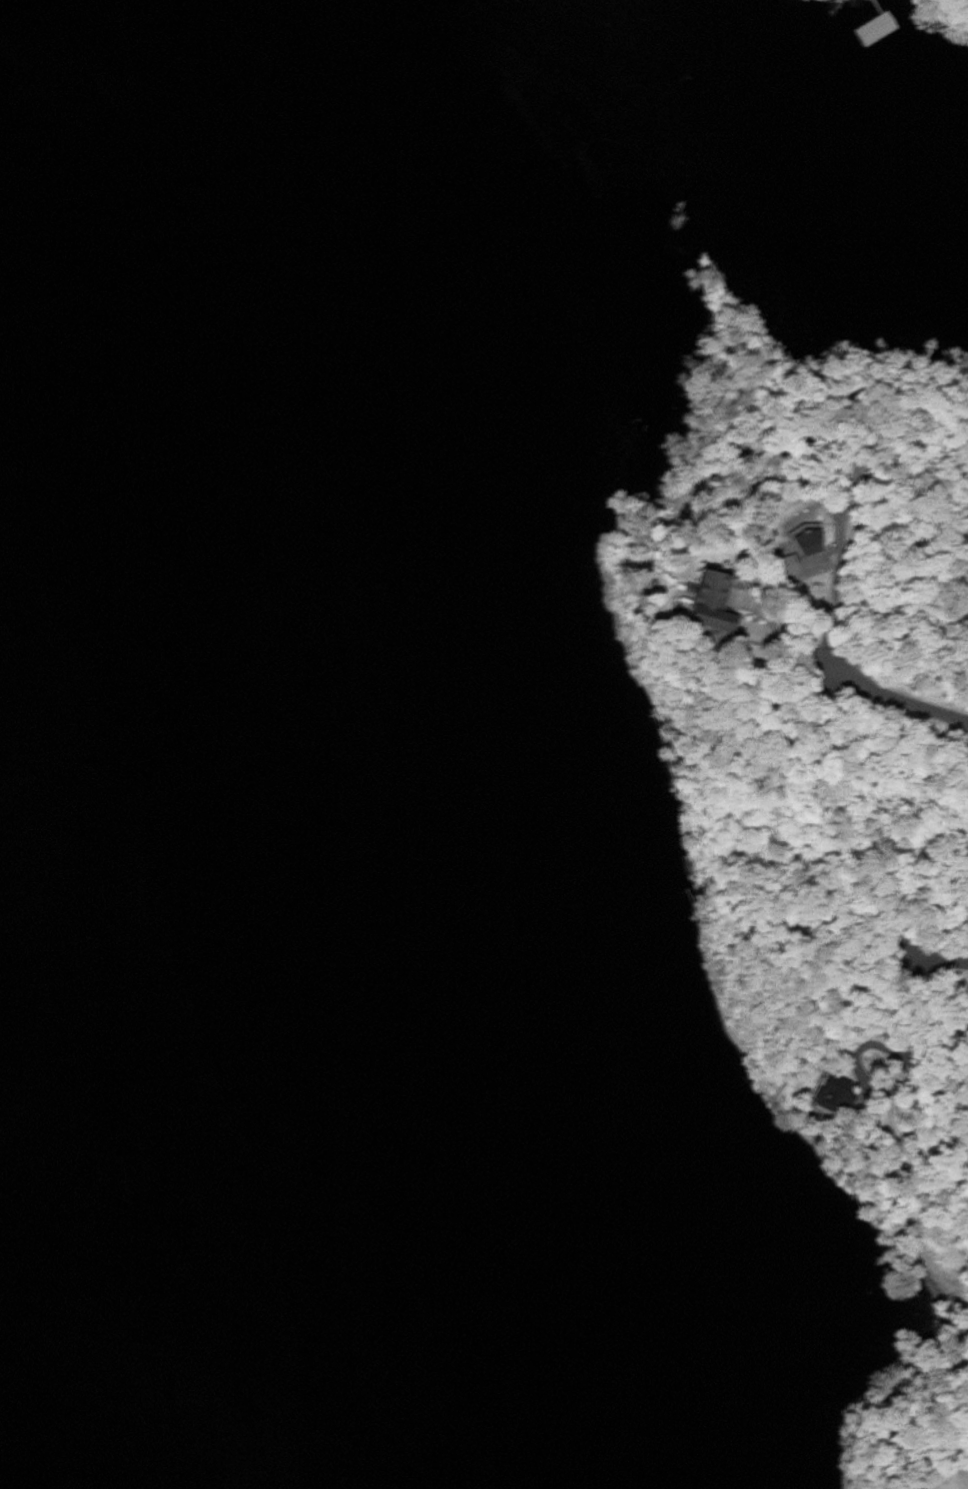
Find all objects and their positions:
building: (875, 29)
road: (903, 709)
road: (946, 964)

